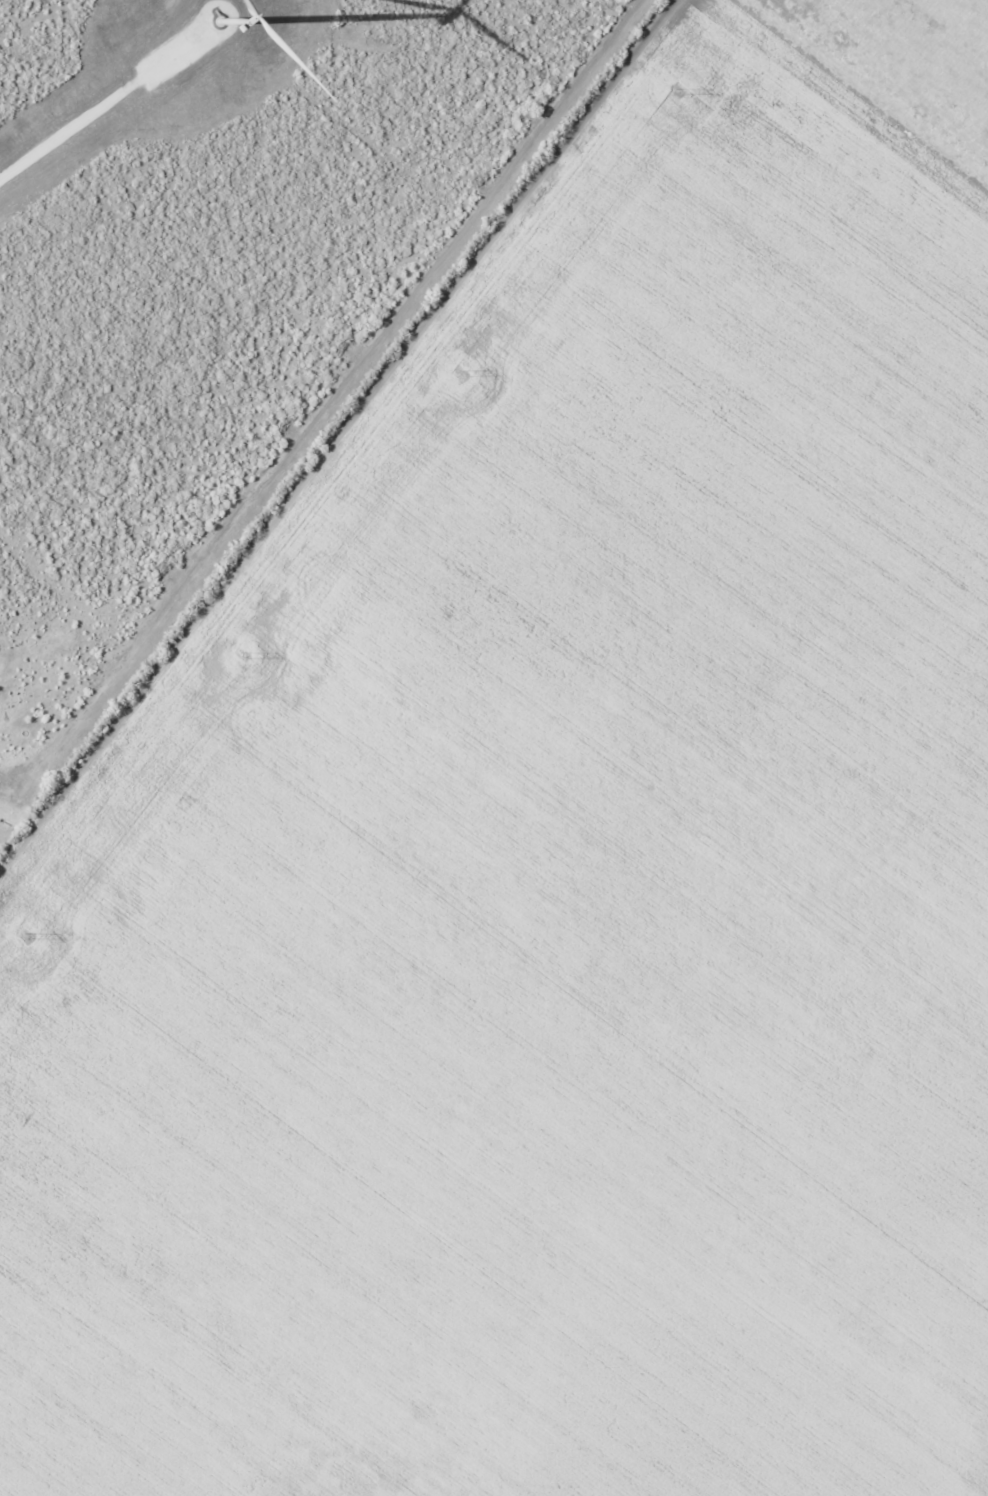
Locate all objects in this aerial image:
wind turbine: (212, 16)
power tower: (678, 90)
power tower: (462, 372)
power tower: (245, 655)
power tower: (28, 935)

